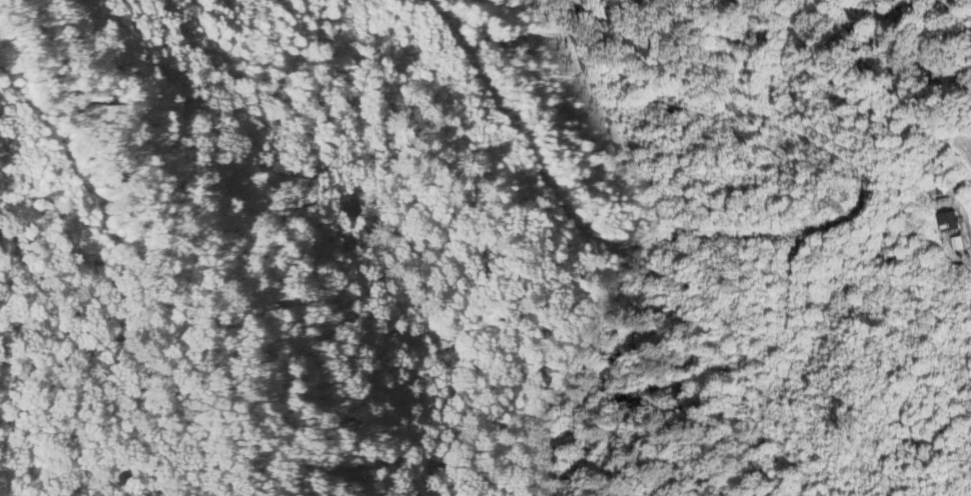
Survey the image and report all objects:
building: (949, 223)
building: (958, 245)

